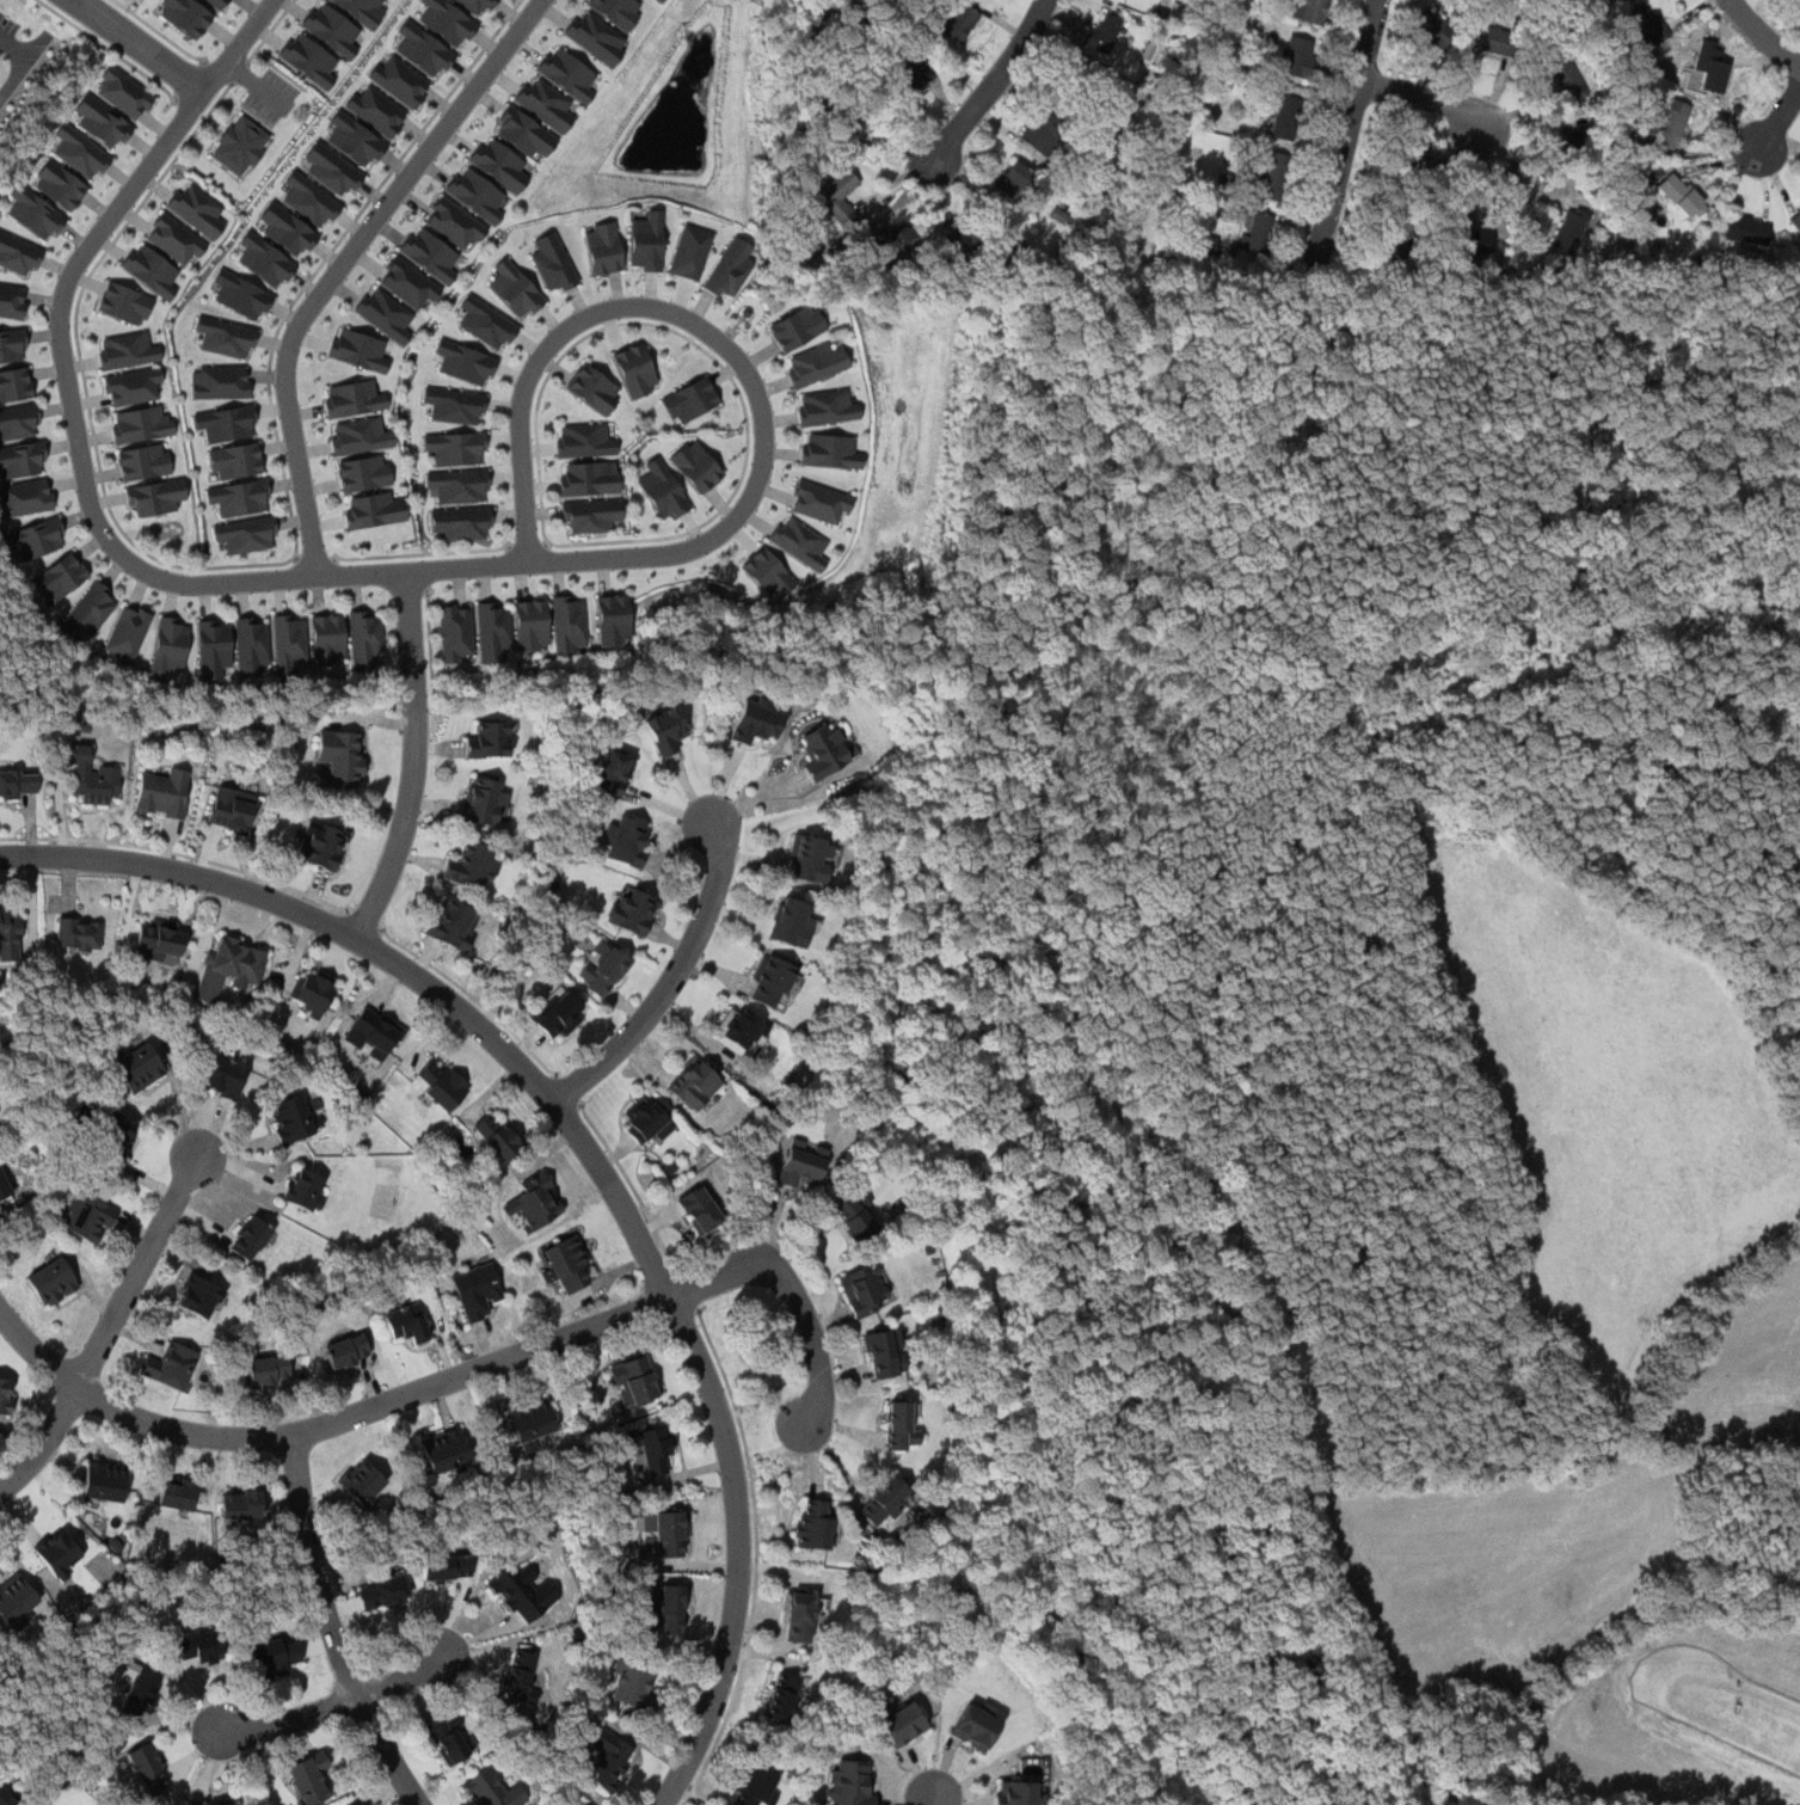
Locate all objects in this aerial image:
building: (658, 0)
building: (662, 0)
road: (76, 1)
road: (80, 1)
building: (217, 4)
building: (477, 5)
building: (1309, 10)
building: (361, 11)
building: (616, 11)
building: (186, 16)
building: (448, 20)
building: (960, 22)
building: (1647, 23)
building: (331, 29)
building: (1433, 29)
parking lot: (7, 30)
road: (271, 31)
road: (161, 32)
building: (1102, 33)
road: (1763, 36)
building: (594, 37)
building: (1487, 38)
road: (14, 48)
road: (143, 48)
road: (109, 49)
building: (424, 49)
building: (1297, 55)
building: (309, 57)
road: (23, 65)
building: (1710, 66)
road: (221, 70)
building: (566, 72)
road: (240, 73)
building: (1082, 78)
building: (1567, 78)
building: (401, 79)
building: (911, 79)
road: (190, 81)
road: (994, 86)
building: (123, 92)
road: (1432, 97)
building: (543, 103)
building: (379, 110)
building: (1285, 117)
road: (1780, 119)
building: (103, 121)
building: (846, 121)
building: (1672, 125)
building: (1043, 133)
building: (523, 134)
road: (1347, 135)
building: (1572, 135)
building: (357, 139)
building: (241, 145)
building: (1414, 151)
building: (80, 152)
building: (498, 164)
building: (333, 168)
building: (1272, 176)
building: (1014, 179)
road: (1519, 180)
building: (60, 185)
building: (475, 192)
building: (833, 195)
building: (1682, 196)
building: (312, 199)
building: (196, 209)
building: (35, 213)
building: (1796, 221)
building: (454, 222)
building: (289, 229)
building: (1746, 229)
building: (1569, 231)
building: (1258, 233)
building: (1468, 234)
building: (890, 237)
building: (176, 239)
building: (1396, 239)
building: (646, 241)
building: (957, 242)
building: (1212, 245)
building: (602, 247)
building: (689, 252)
building: (430, 253)
building: (19, 254)
building: (266, 259)
building: (552, 263)
road: (343, 265)
building: (731, 268)
building: (150, 269)
building: (410, 283)
building: (516, 288)
building: (242, 295)
building: (12, 300)
building: (125, 302)
building: (385, 314)
building: (487, 323)
building: (797, 326)
building: (227, 337)
road: (720, 340)
building: (13, 345)
building: (360, 349)
building: (128, 350)
road: (707, 354)
building: (467, 361)
building: (815, 364)
building: (637, 370)
building: (221, 381)
building: (16, 383)
building: (133, 386)
building: (595, 388)
building: (354, 398)
building: (690, 400)
building: (456, 405)
building: (825, 407)
building: (18, 422)
building: (227, 423)
building: (140, 424)
building: (360, 435)
building: (584, 441)
building: (457, 447)
building: (828, 450)
road: (81, 455)
building: (23, 459)
building: (236, 460)
building: (145, 461)
building: (696, 465)
building: (364, 472)
building: (589, 478)
building: (460, 485)
building: (663, 490)
building: (25, 497)
building: (154, 497)
building: (240, 497)
building: (818, 501)
building: (373, 510)
building: (590, 515)
building: (462, 522)
building: (247, 534)
building: (36, 538)
building: (798, 541)
road: (529, 545)
road: (423, 553)
road: (313, 559)
road: (270, 563)
building: (767, 573)
building: (60, 577)
building: (90, 609)
building: (613, 619)
building: (530, 624)
building: (567, 624)
building: (492, 630)
road: (429, 631)
building: (128, 633)
building: (456, 633)
building: (364, 638)
building: (327, 639)
building: (289, 643)
building: (171, 645)
building: (251, 645)
building: (214, 646)
building: (756, 720)
building: (665, 730)
building: (490, 739)
building: (824, 751)
building: (339, 757)
road: (414, 760)
building: (613, 773)
building: (94, 776)
building: (18, 782)
building: (162, 794)
building: (483, 802)
building: (231, 809)
building: (627, 841)
building: (321, 846)
road: (179, 853)
building: (809, 858)
building: (473, 865)
building: (632, 910)
road: (365, 921)
building: (791, 922)
building: (454, 923)
building: (78, 934)
building: (10, 935)
building: (158, 940)
building: (229, 966)
building: (603, 969)
road: (676, 980)
building: (770, 981)
building: (314, 991)
road: (475, 999)
building: (558, 1013)
airport: (1387, 1015)
building: (739, 1031)
building: (374, 1033)
building: (139, 1067)
building: (226, 1075)
building: (693, 1083)
building: (441, 1085)
road: (572, 1089)
building: (293, 1118)
building: (646, 1122)
building: (117, 1132)
building: (497, 1136)
road: (591, 1156)
building: (800, 1165)
building: (2, 1183)
building: (306, 1189)
road: (633, 1189)
building: (536, 1201)
building: (700, 1210)
building: (855, 1215)
building: (87, 1217)
building: (250, 1238)
building: (566, 1265)
building: (53, 1282)
building: (862, 1289)
building: (477, 1290)
road: (688, 1291)
building: (201, 1296)
road: (800, 1300)
building: (407, 1322)
road: (111, 1331)
building: (346, 1350)
building: (886, 1353)
building: (170, 1365)
building: (268, 1370)
building: (635, 1377)
building: (5, 1395)
building: (532, 1419)
road: (325, 1424)
building: (899, 1426)
building: (656, 1448)
building: (446, 1450)
building: (104, 1481)
building: (362, 1482)
building: (177, 1492)
building: (884, 1502)
building: (240, 1503)
building: (812, 1524)
building: (671, 1533)
building: (59, 1553)
road: (756, 1555)
building: (447, 1567)
building: (521, 1591)
building: (382, 1594)
building: (16, 1600)
building: (669, 1610)
building: (803, 1614)
road: (333, 1629)
building: (197, 1647)
building: (275, 1657)
building: (520, 1675)
building: (634, 1686)
building: (141, 1692)
building: (785, 1697)
road: (334, 1706)
airport runway: (1737, 1708)
building: (902, 1724)
building: (973, 1725)
building: (449, 1739)
building: (609, 1758)
building: (147, 1769)
building: (309, 1779)
building: (850, 1781)
building: (752, 1783)
building: (492, 1791)
building: (1018, 1792)
building: (6, 1798)
road: (936, 1798)
building: (211, 1803)
building: (362, 1804)
building: (586, 1804)

